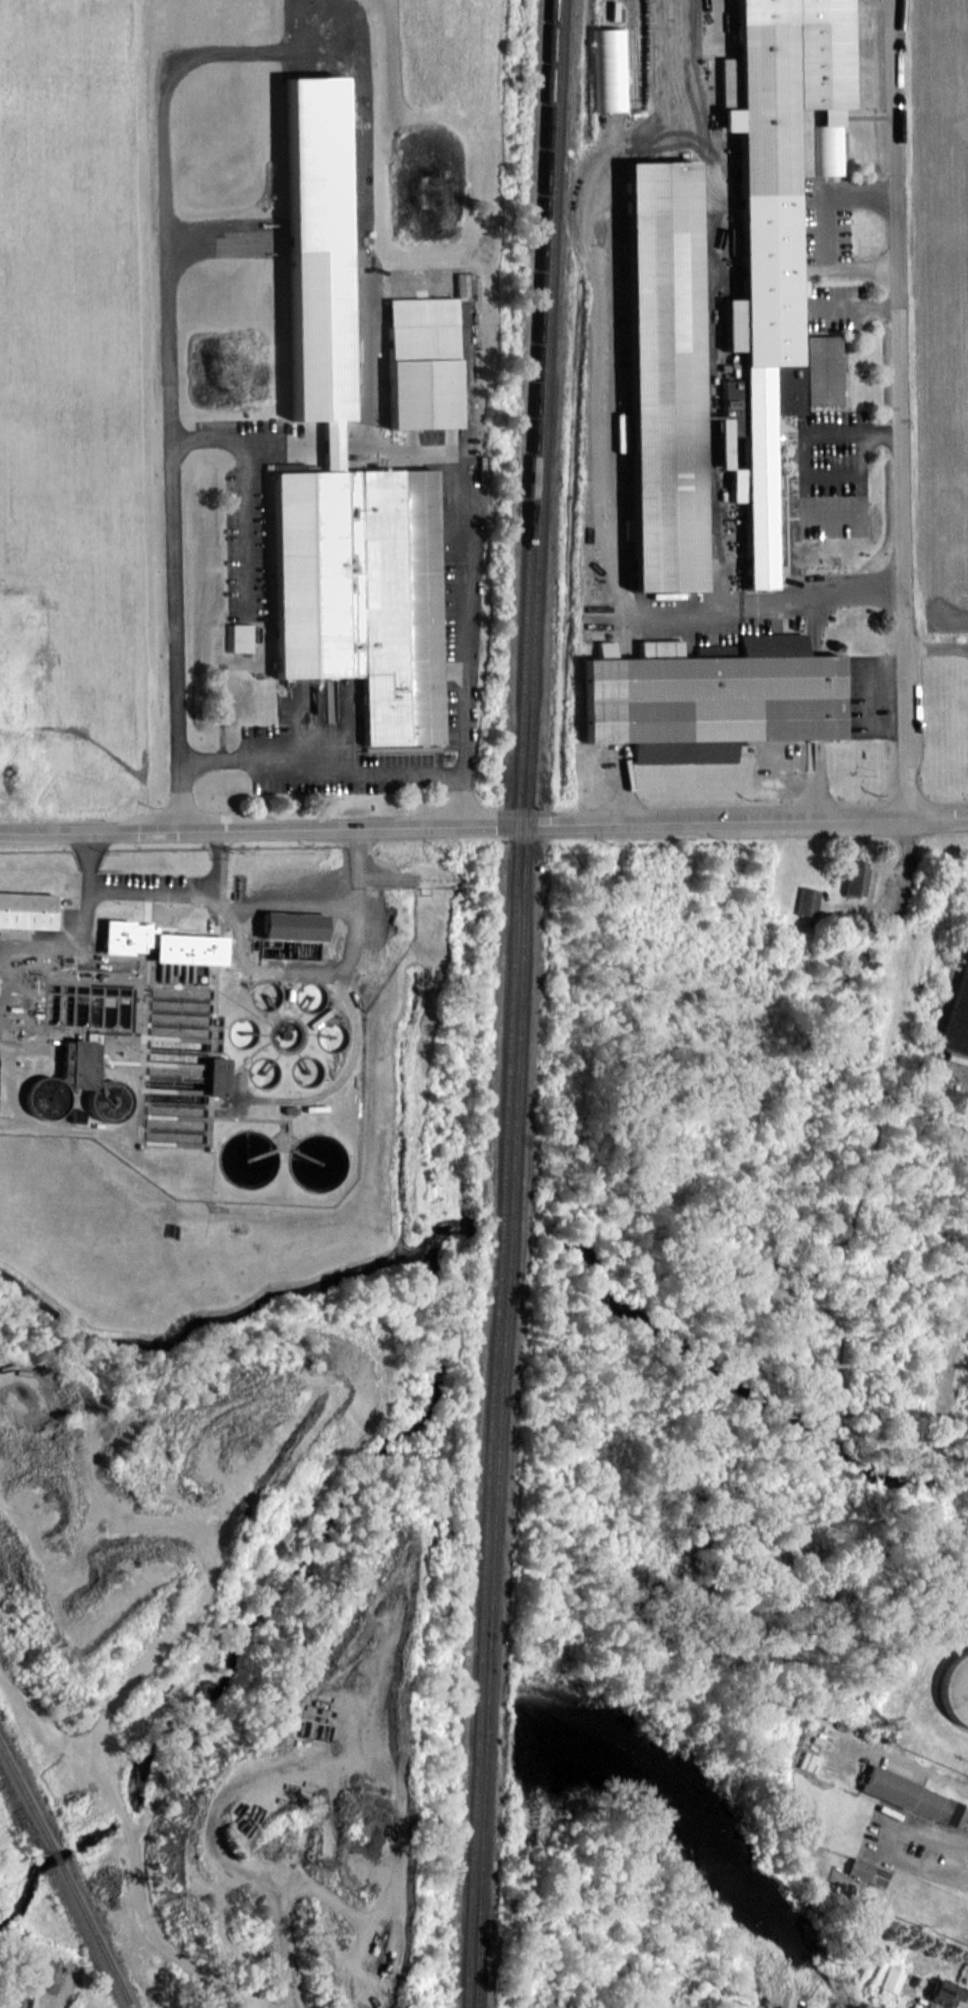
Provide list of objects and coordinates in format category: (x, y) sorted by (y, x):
road: (314, 51)
building: (608, 69)
road: (827, 228)
building: (771, 240)
building: (420, 363)
building: (659, 369)
building: (730, 408)
road: (899, 408)
road: (802, 492)
building: (349, 539)
building: (240, 637)
road: (936, 647)
road: (870, 694)
building: (708, 699)
road: (320, 765)
road: (179, 796)
road: (462, 799)
road: (483, 824)
road: (90, 865)
road: (216, 865)
building: (855, 877)
road: (903, 885)
building: (807, 901)
building: (26, 910)
building: (291, 926)
road: (237, 930)
building: (162, 943)
railway: (508, 945)
railway: (518, 945)
building: (957, 1016)
building: (217, 1076)
wastewater plant: (191, 1078)
building: (62, 1079)
building: (955, 1689)
building: (910, 1796)
railway: (25, 1800)
road: (940, 1828)
railway: (53, 1856)
building: (869, 1872)
railway: (93, 1934)
railway: (465, 1949)
railway: (474, 1949)
building: (892, 1979)
building: (946, 1993)

